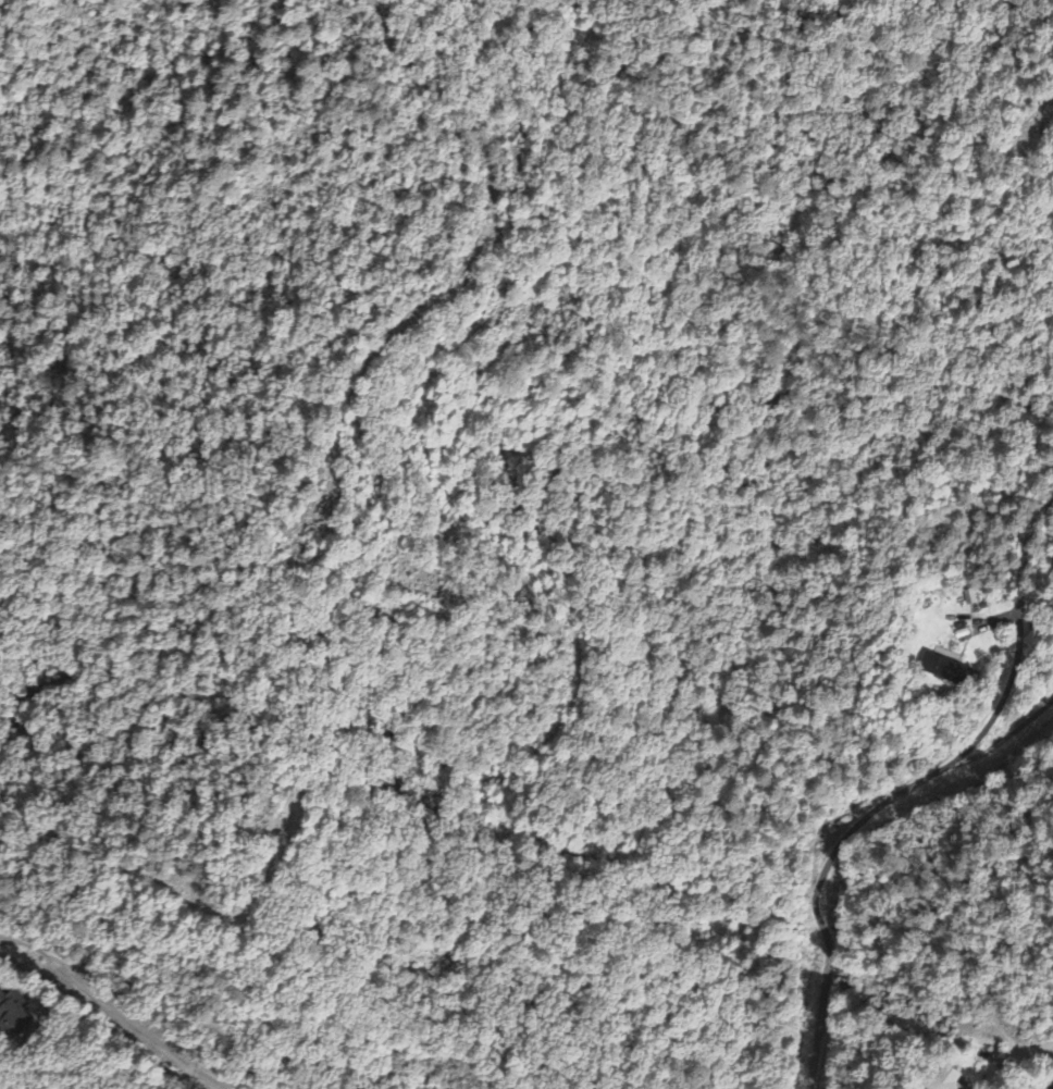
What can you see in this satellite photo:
road: (446, 215)
road: (201, 264)
building: (944, 671)
road: (1005, 688)
road: (1004, 737)
road: (814, 895)
road: (110, 1011)
building: (12, 1013)
building: (944, 1079)

